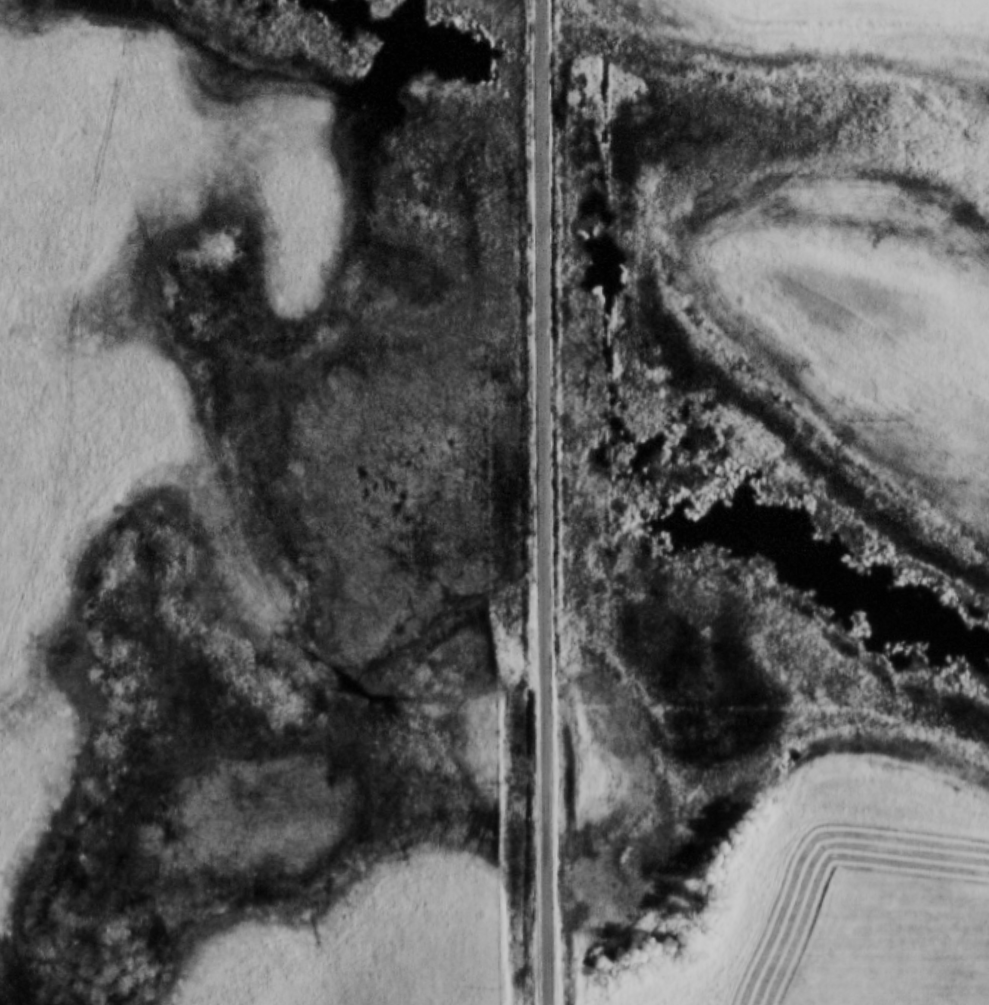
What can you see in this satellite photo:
road: (540, 502)

